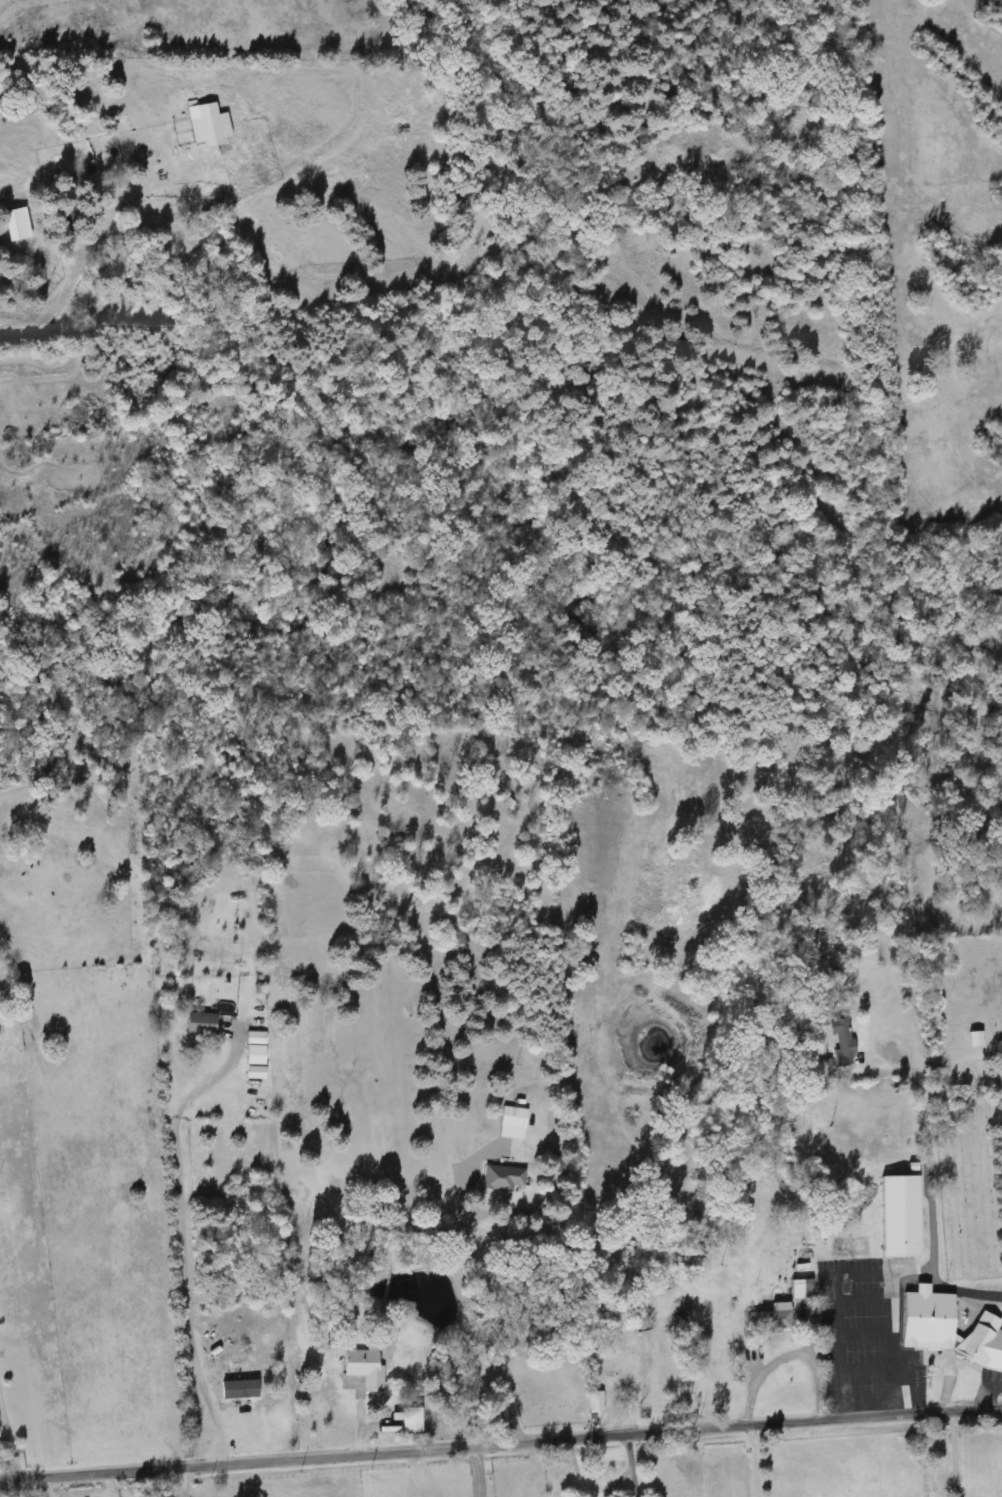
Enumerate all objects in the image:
building: (205, 125)
road: (48, 310)
building: (972, 1039)
building: (841, 1044)
park: (964, 1095)
building: (508, 1123)
building: (500, 1178)
building: (896, 1216)
road: (172, 1238)
parking lot: (919, 1255)
road: (892, 1284)
road: (828, 1288)
road: (474, 1305)
building: (769, 1319)
parking lot: (865, 1329)
building: (945, 1330)
road: (788, 1355)
road: (837, 1359)
building: (361, 1368)
road: (988, 1392)
building: (593, 1402)
road: (11, 1434)
road: (501, 1444)
road: (956, 1453)
road: (753, 1461)
road: (463, 1472)
road: (169, 1484)

